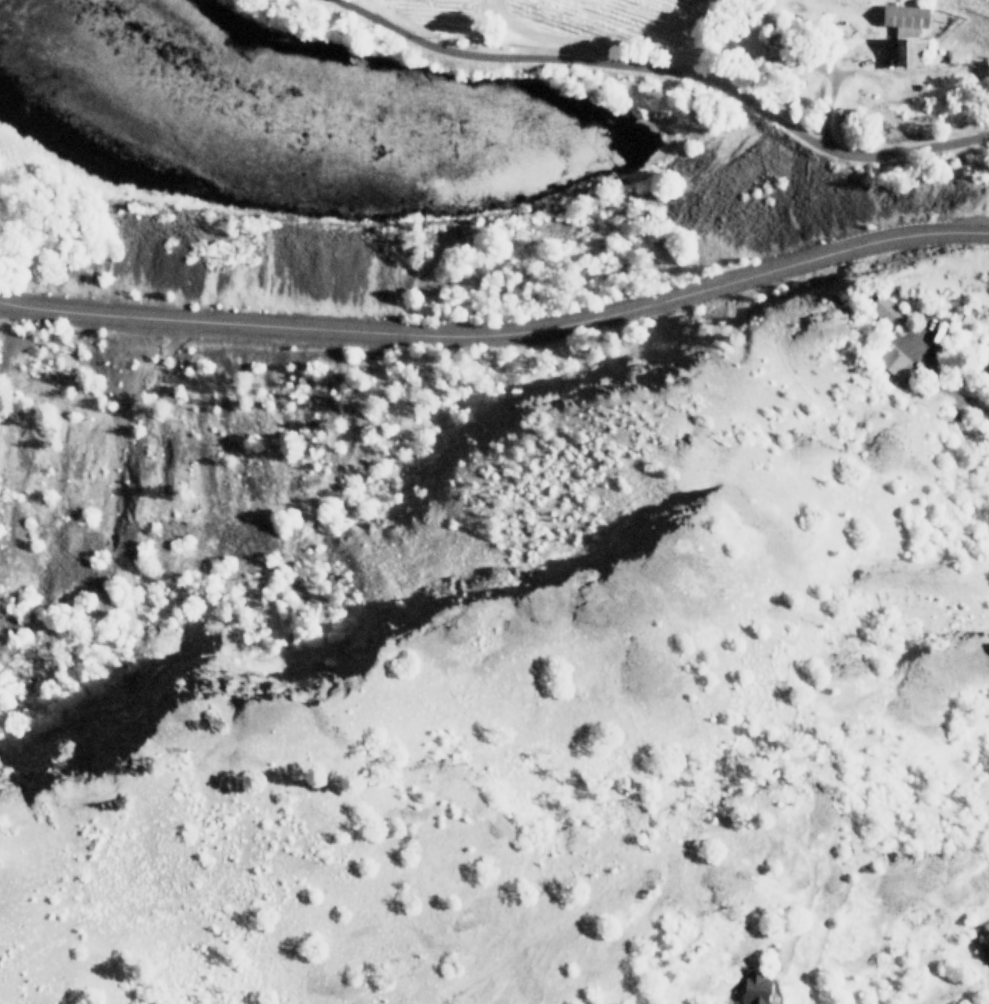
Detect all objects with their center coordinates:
building: (902, 16)
road: (669, 74)
building: (886, 311)
road: (499, 331)
road: (949, 389)
building: (985, 938)
building: (753, 988)

